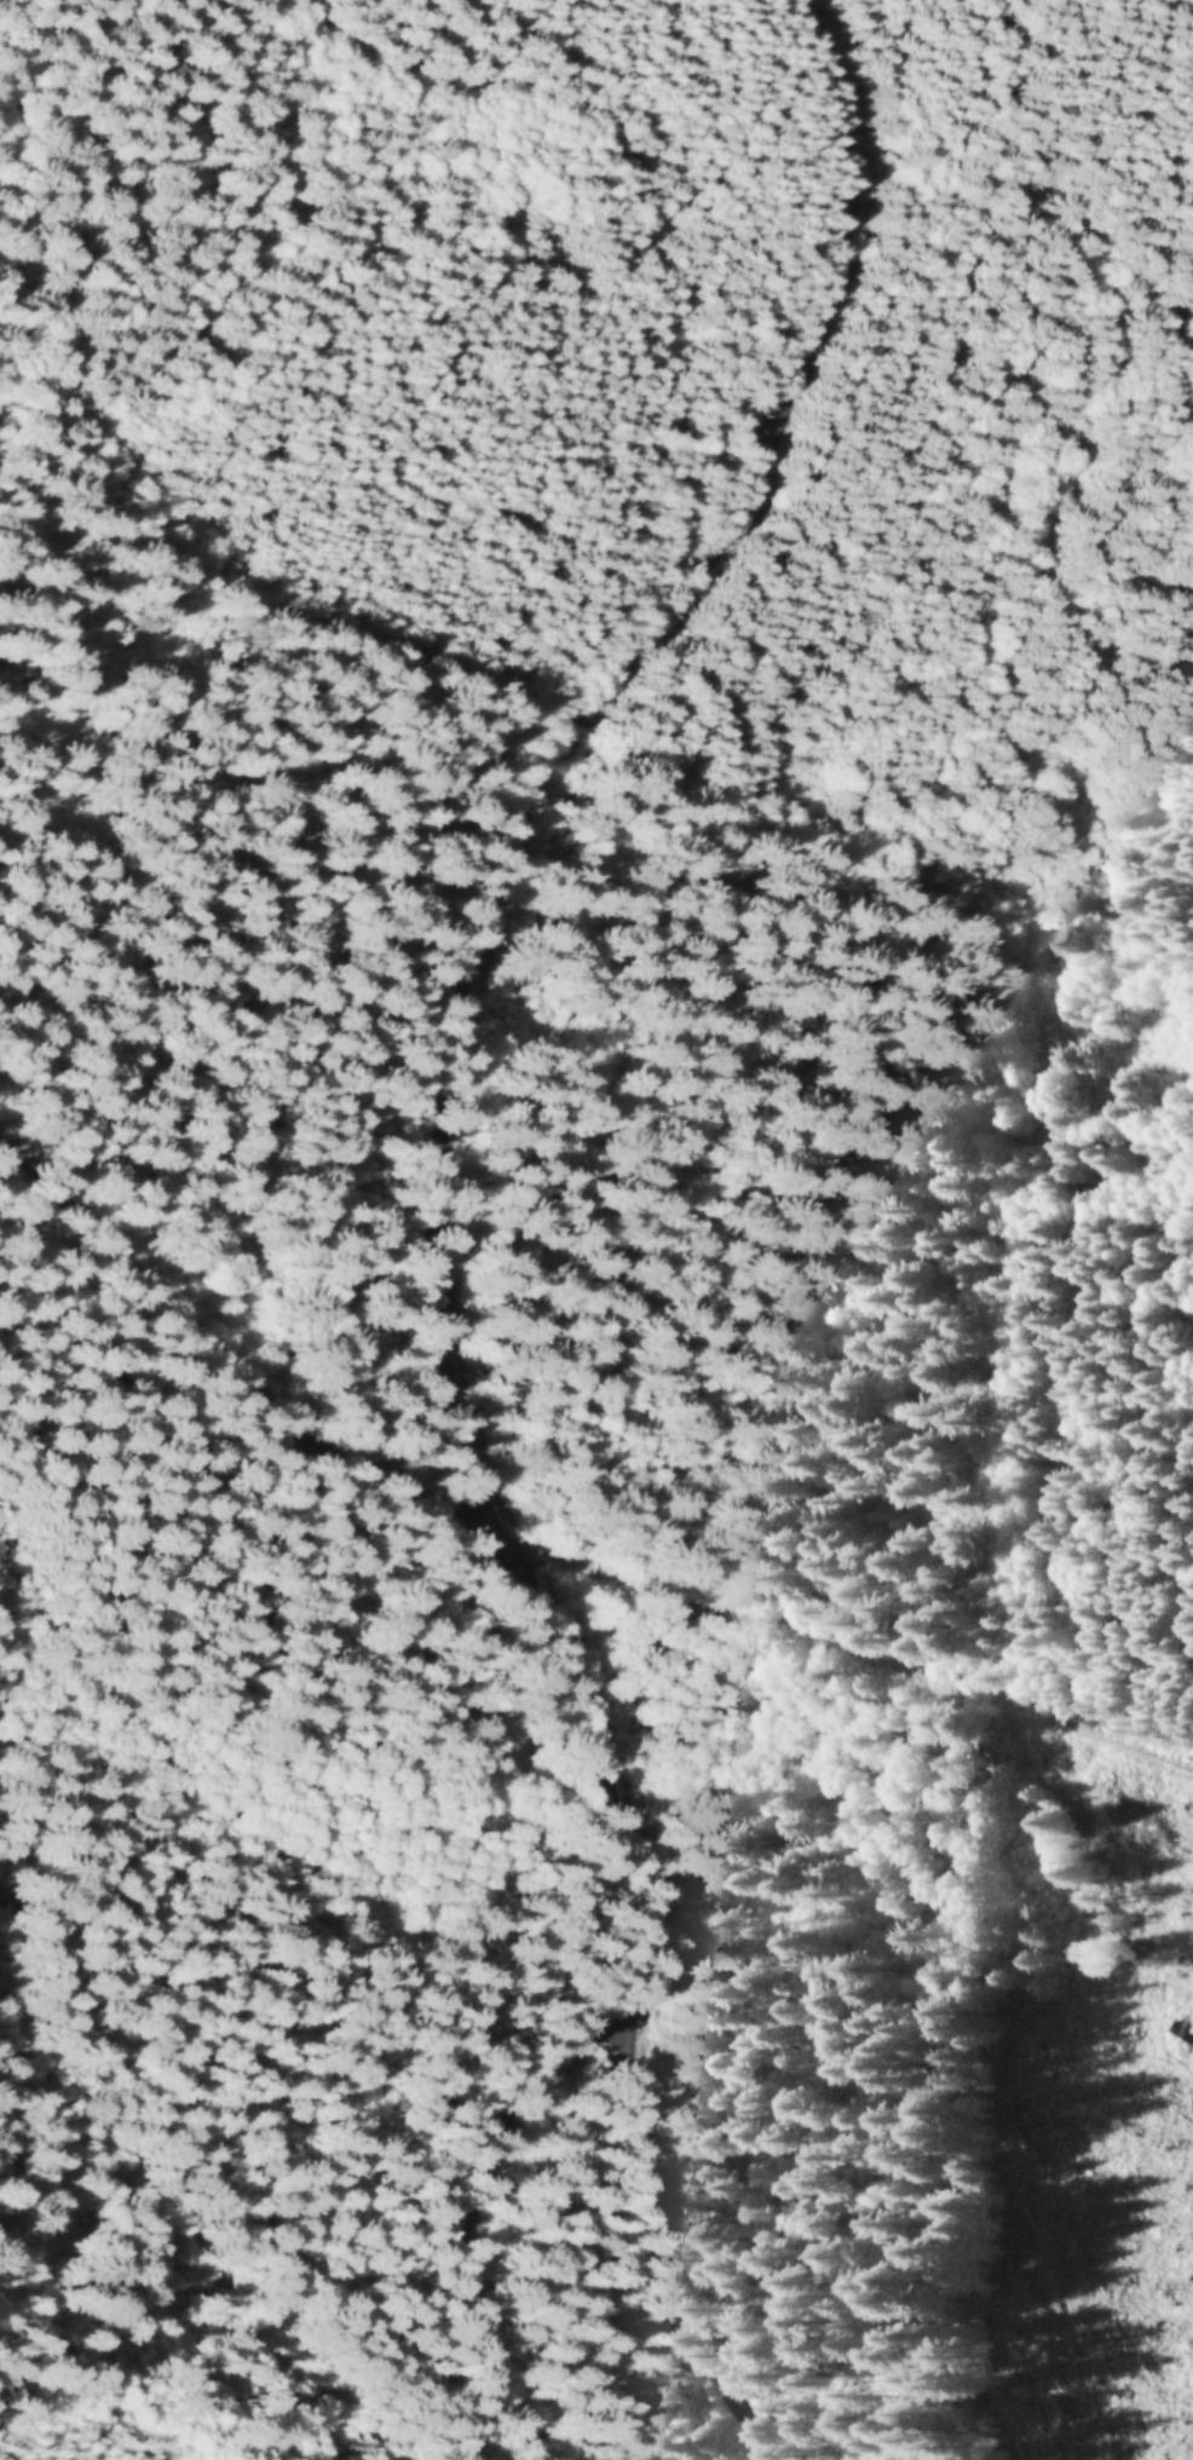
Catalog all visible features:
road: (477, 1205)
road: (229, 1237)
road: (874, 1660)
road: (238, 1699)
road: (459, 2208)

